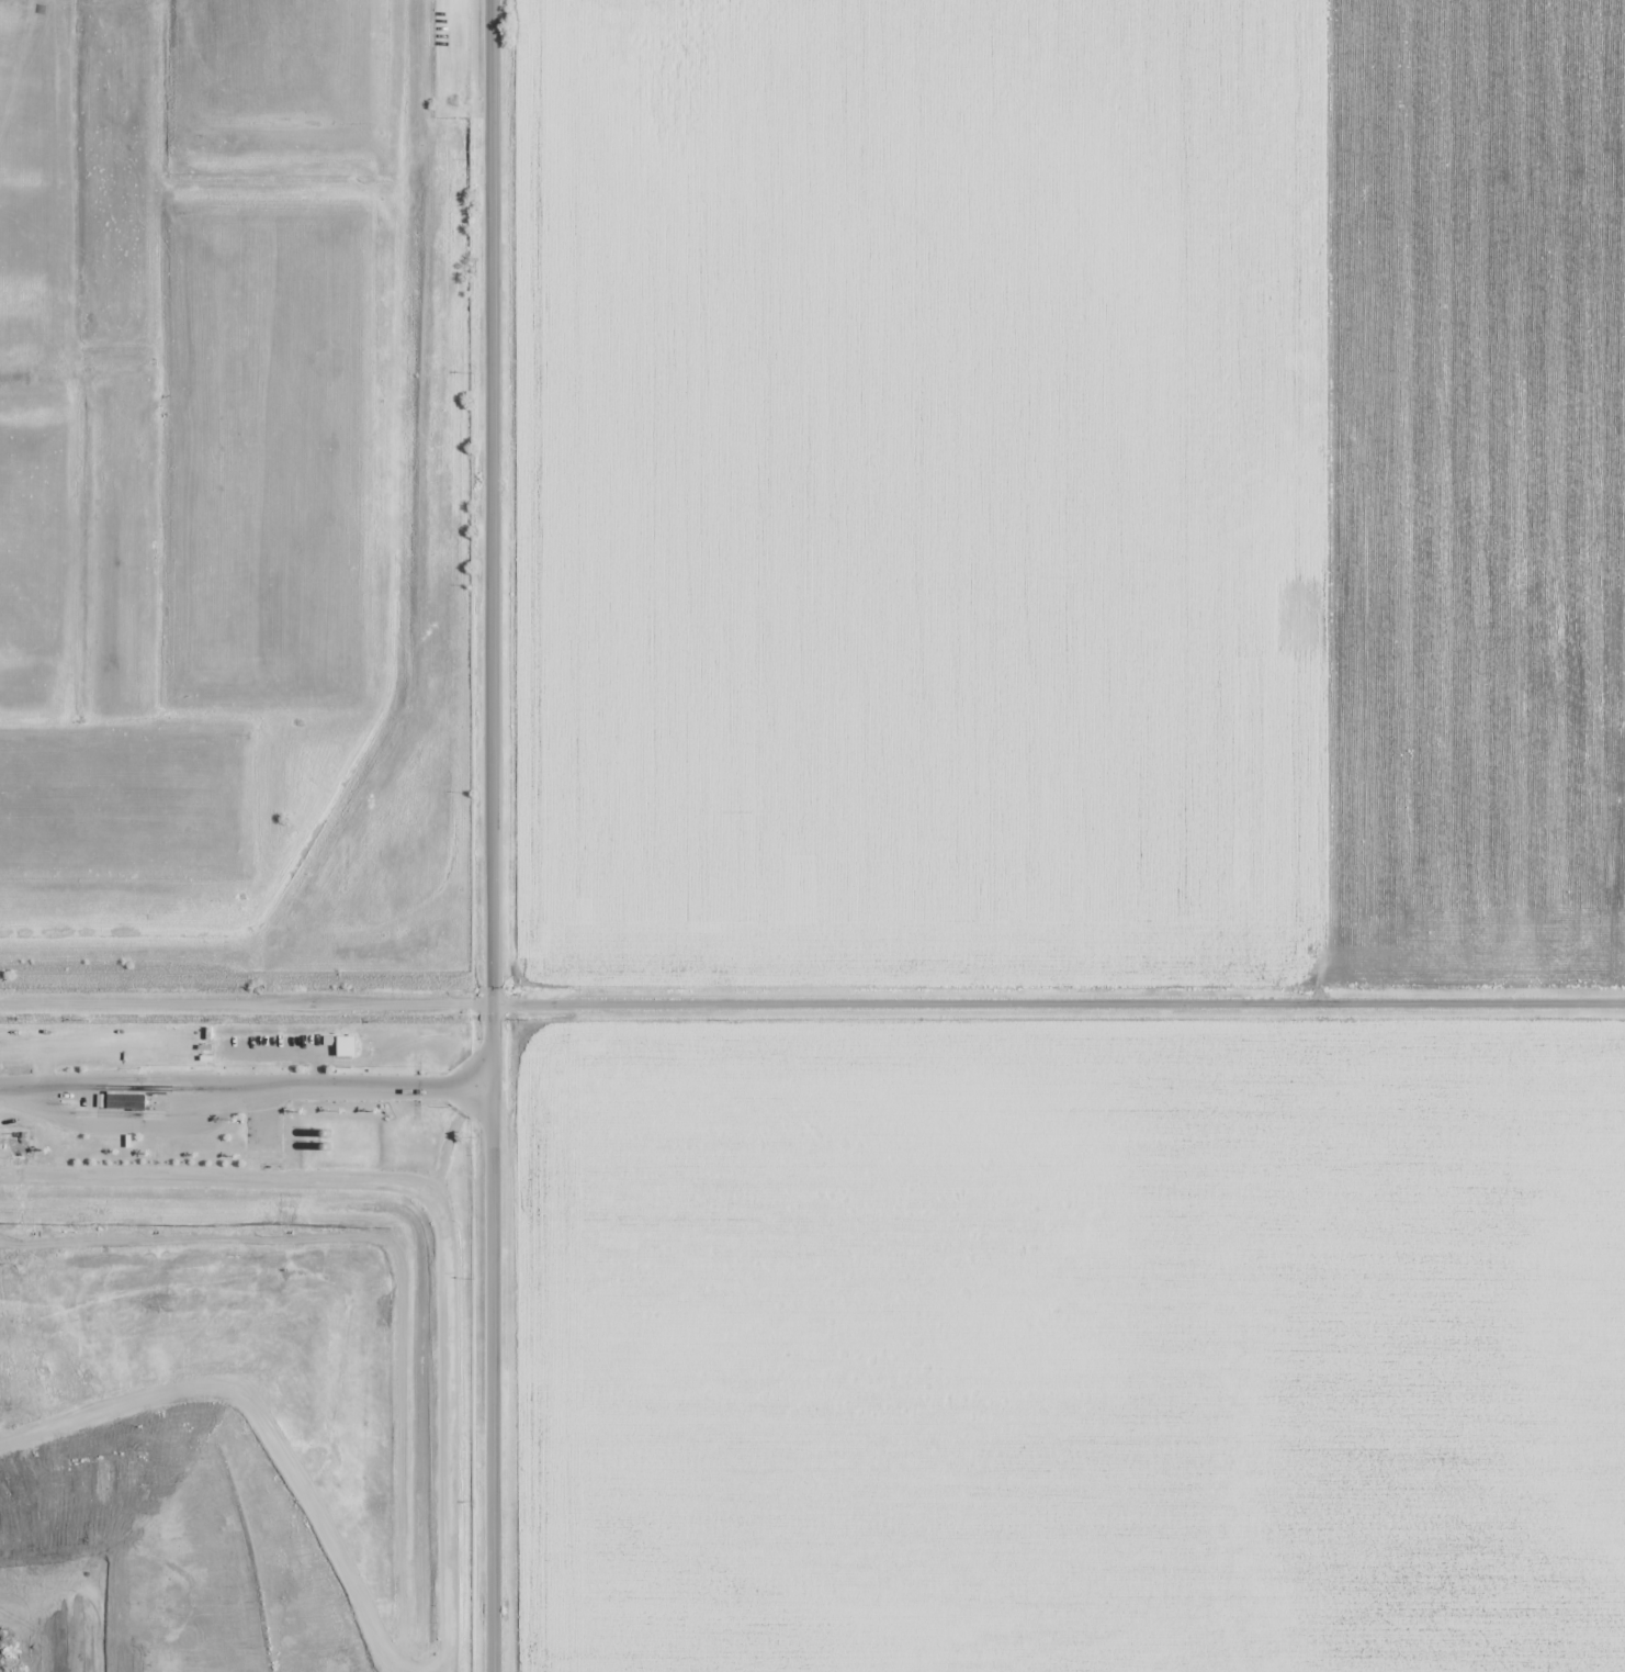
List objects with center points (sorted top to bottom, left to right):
road: (479, 835)
road: (812, 1002)
building: (347, 1046)
building: (126, 1097)

